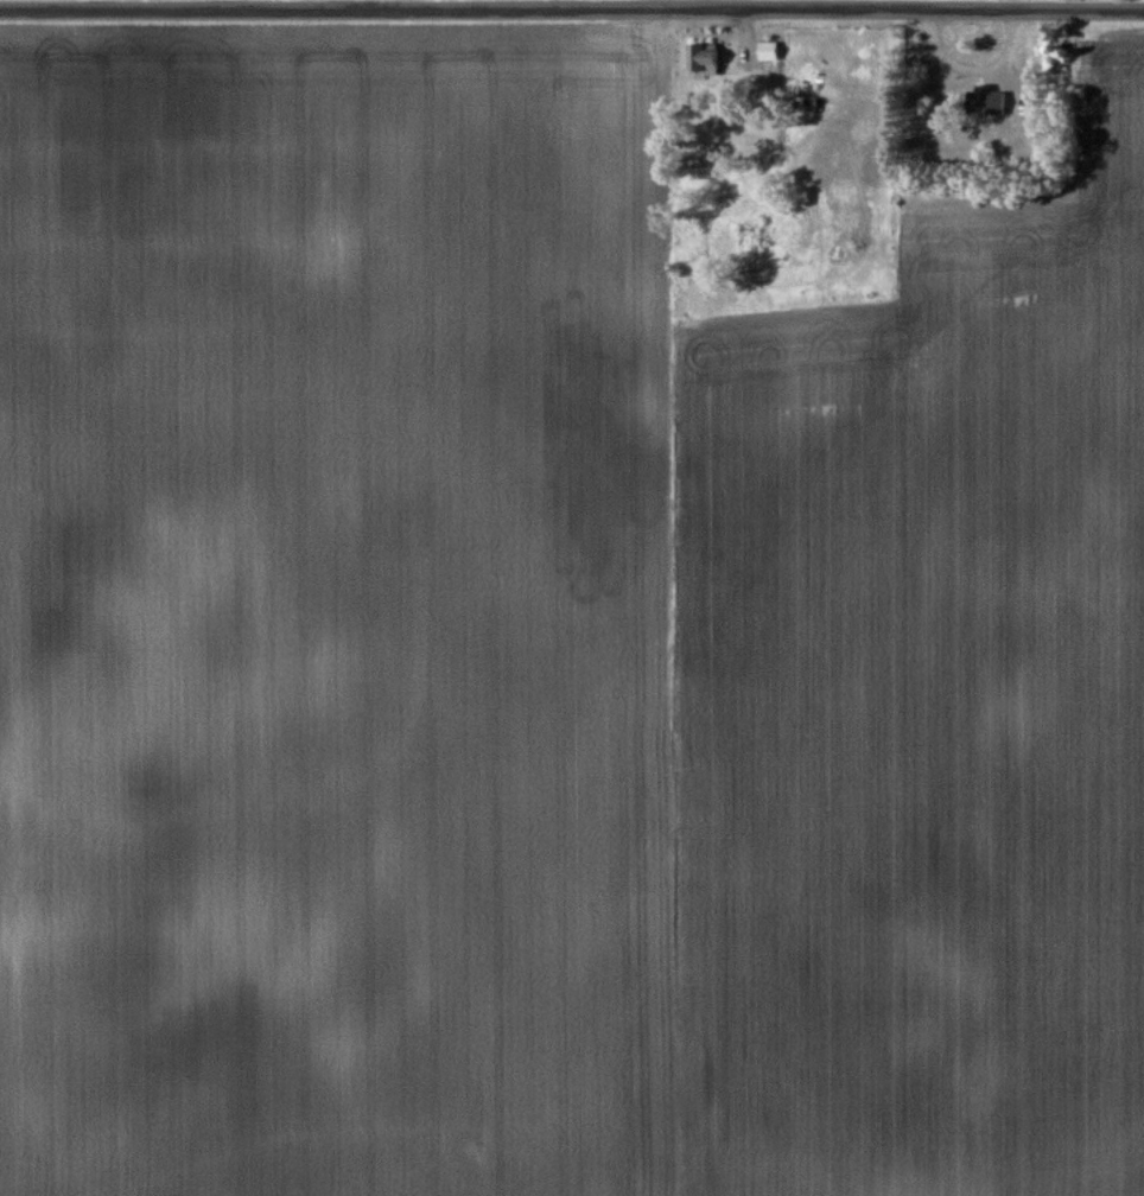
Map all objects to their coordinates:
road: (572, 7)
building: (770, 51)
building: (706, 57)
building: (990, 100)

